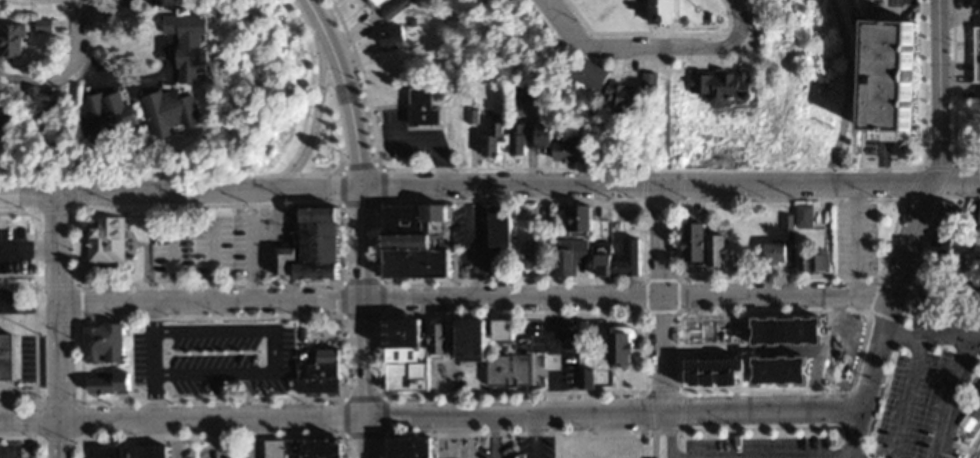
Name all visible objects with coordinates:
road: (126, 2)
building: (156, 3)
building: (376, 3)
building: (657, 14)
road: (311, 17)
street lamp: (306, 30)
road: (733, 33)
building: (390, 39)
building: (9, 43)
building: (183, 48)
road: (613, 49)
building: (976, 53)
road: (66, 67)
road: (664, 68)
street lamp: (352, 70)
building: (590, 78)
building: (884, 78)
park: (963, 83)
road: (139, 84)
building: (647, 84)
road: (70, 85)
road: (950, 85)
building: (720, 90)
road: (844, 91)
building: (621, 100)
building: (35, 105)
road: (347, 108)
building: (421, 109)
road: (314, 115)
building: (167, 116)
building: (6, 119)
building: (105, 121)
road: (922, 133)
building: (541, 136)
building: (515, 141)
building: (489, 142)
building: (565, 152)
road: (966, 171)
road: (902, 182)
road: (742, 184)
road: (318, 186)
road: (509, 186)
road: (166, 190)
road: (27, 193)
building: (951, 212)
building: (802, 215)
building: (978, 216)
building: (578, 217)
road: (193, 223)
building: (497, 225)
road: (911, 231)
parking lot: (853, 236)
building: (104, 239)
road: (852, 239)
building: (412, 240)
road: (661, 240)
building: (690, 242)
building: (310, 246)
road: (56, 249)
building: (716, 250)
building: (772, 252)
building: (533, 254)
building: (568, 255)
building: (617, 259)
building: (811, 260)
road: (251, 263)
road: (776, 296)
road: (359, 301)
road: (28, 309)
road: (361, 321)
building: (499, 329)
building: (699, 331)
road: (930, 336)
building: (469, 339)
building: (435, 340)
building: (101, 342)
building: (616, 344)
road: (662, 352)
road: (552, 355)
building: (5, 356)
building: (389, 356)
road: (246, 360)
road: (287, 360)
road: (149, 362)
building: (513, 370)
building: (316, 371)
building: (193, 374)
road: (58, 381)
building: (105, 381)
parking lot: (926, 386)
street lamp: (849, 392)
road: (953, 395)
road: (905, 397)
building: (975, 405)
street lamp: (736, 413)
road: (459, 414)
road: (29, 421)
road: (667, 433)
road: (533, 435)
road: (468, 436)
road: (494, 436)
road: (174, 438)
road: (214, 438)
road: (254, 438)
road: (972, 444)
building: (583, 445)
road: (651, 445)
parking lot: (745, 446)
building: (406, 447)
parking lot: (513, 447)
road: (960, 447)
parking lot: (207, 448)
building: (300, 448)
road: (975, 449)
parking lot: (13, 450)
building: (127, 451)
parking lot: (845, 455)
road: (979, 457)

